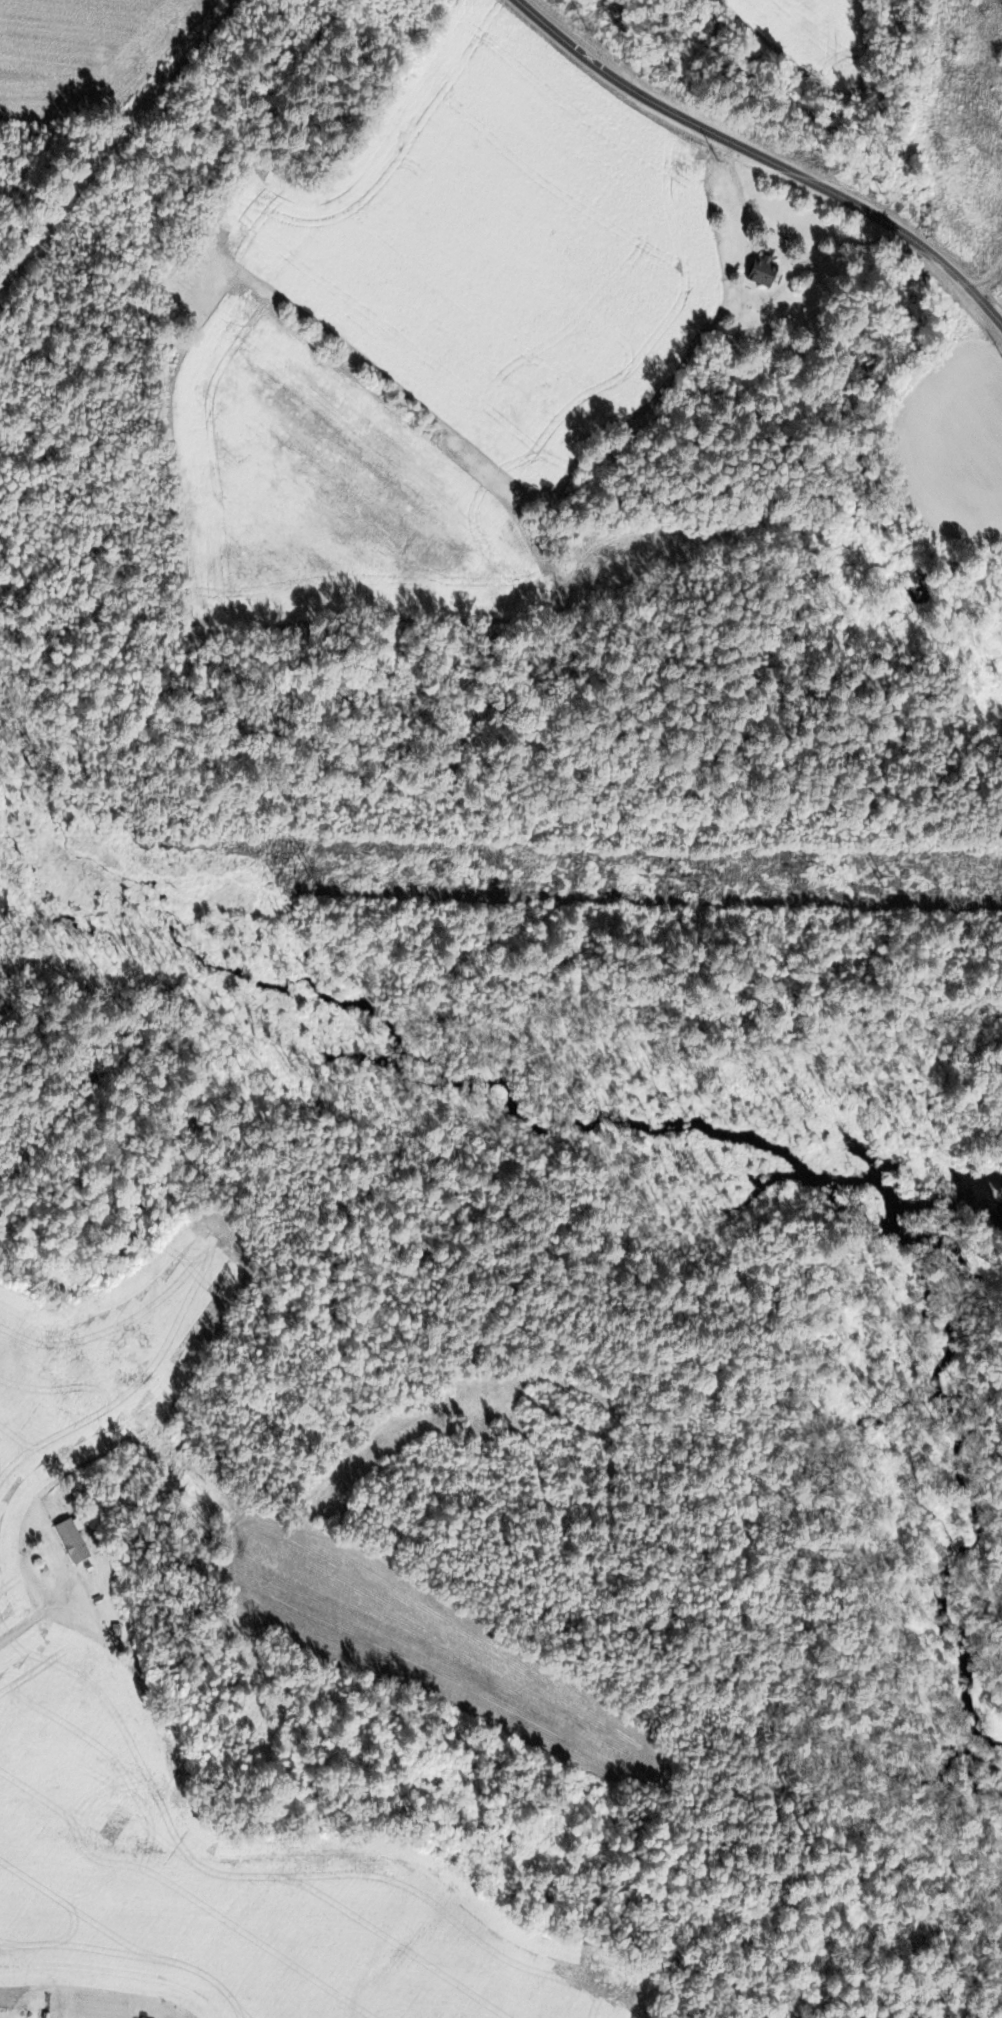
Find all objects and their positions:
railway: (113, 150)
road: (762, 157)
building: (769, 272)
power tower: (315, 871)
power tower: (886, 880)
building: (75, 1542)
road: (38, 1615)

